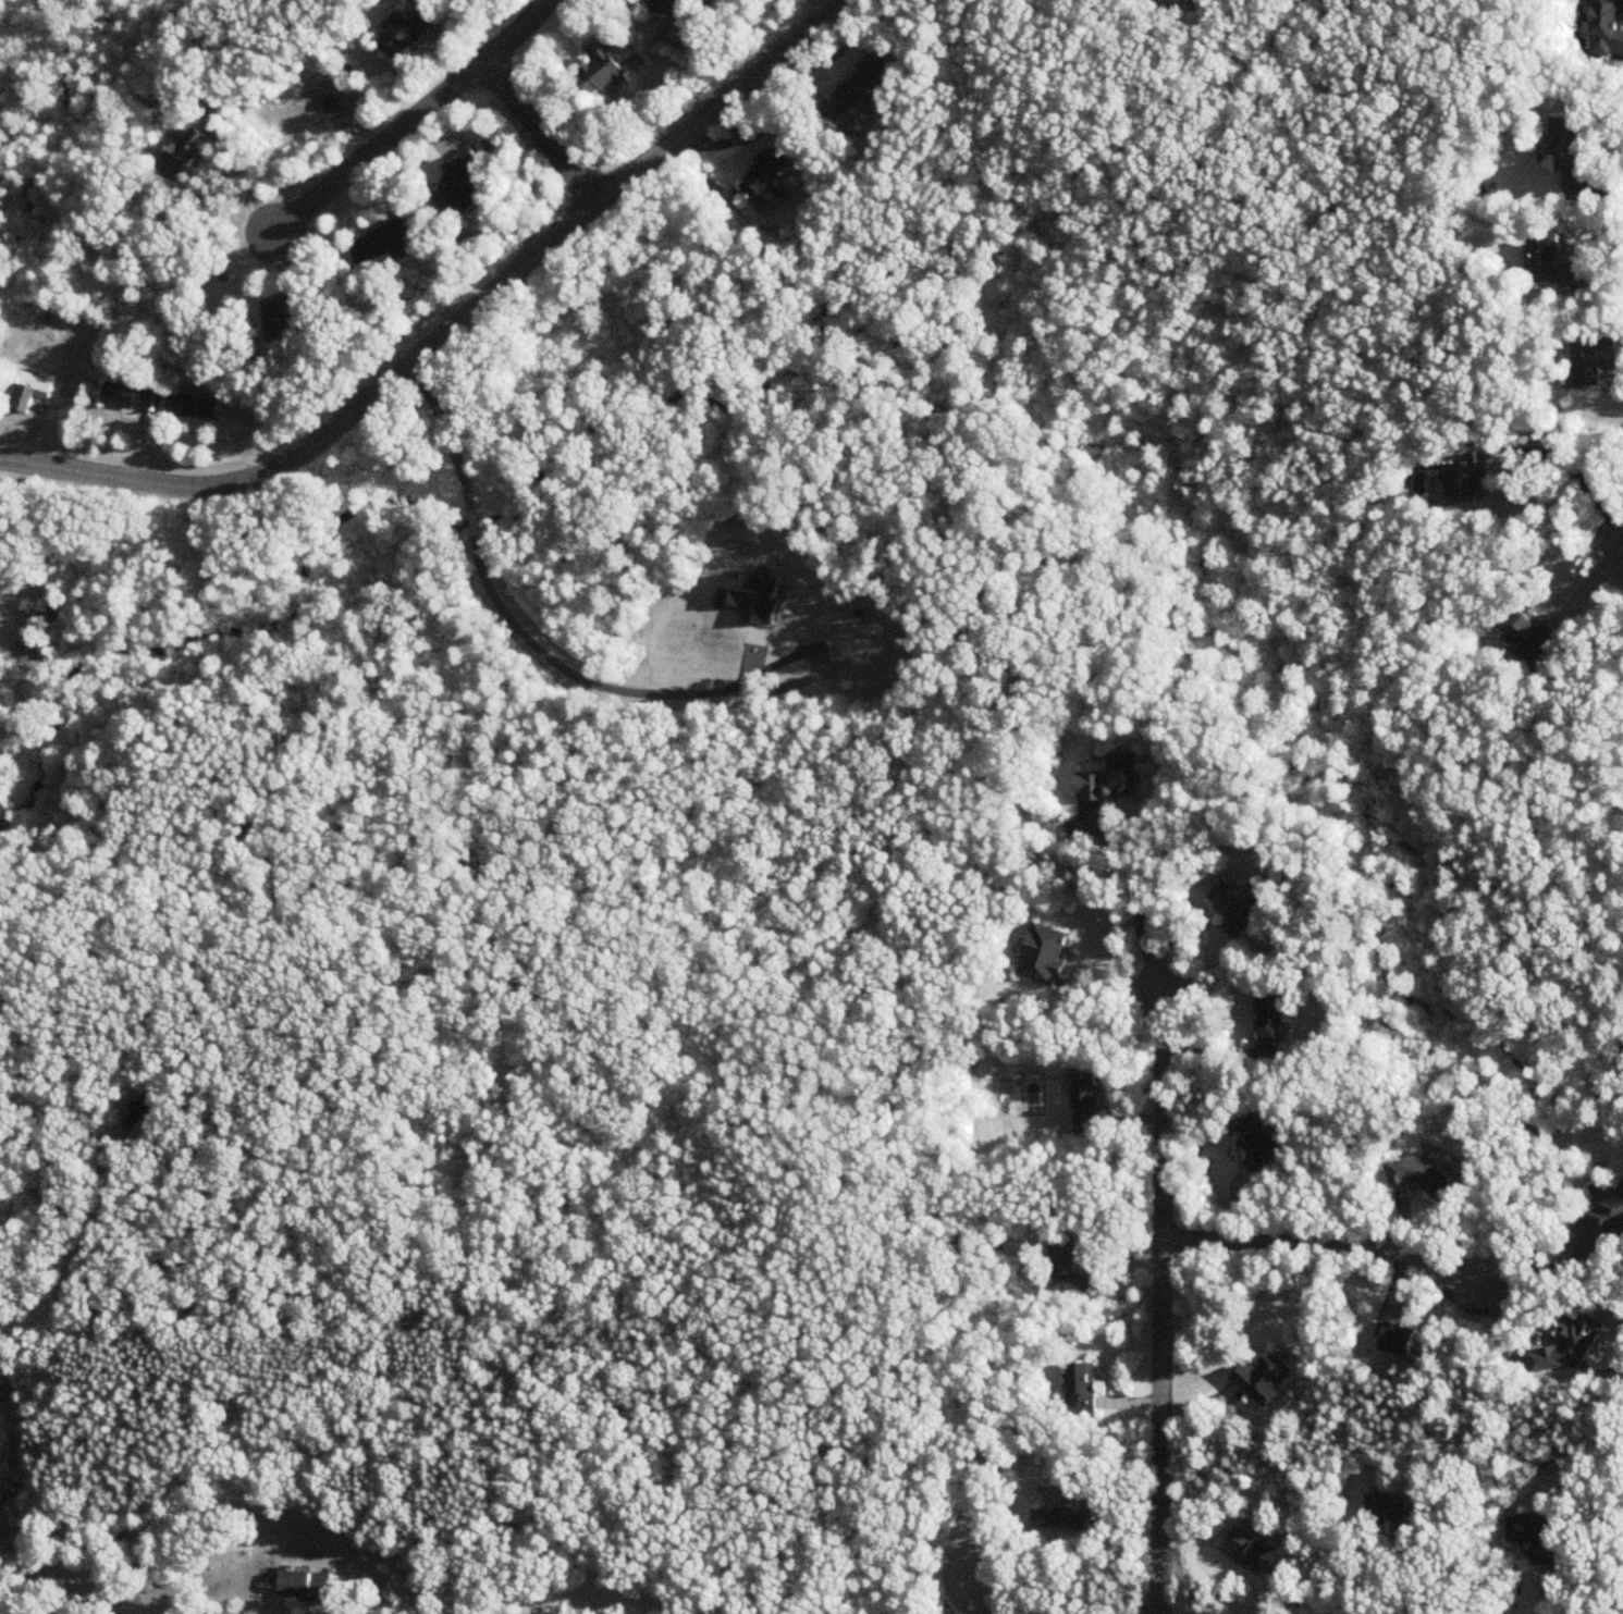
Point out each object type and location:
building: (663, 7)
building: (1608, 28)
building: (406, 30)
building: (601, 69)
road: (413, 121)
road: (541, 133)
building: (1573, 143)
building: (186, 153)
building: (767, 173)
road: (245, 174)
building: (458, 182)
road: (1593, 190)
building: (382, 244)
building: (1554, 263)
road: (1600, 268)
building: (281, 318)
road: (450, 323)
building: (1591, 360)
building: (128, 396)
building: (22, 397)
building: (192, 406)
road: (443, 427)
road: (1575, 471)
building: (1468, 479)
road: (471, 523)
building: (1527, 634)
building: (862, 646)
road: (578, 676)
building: (1112, 780)
road: (1140, 894)
building: (1237, 907)
building: (1045, 954)
building: (1275, 1013)
building: (1086, 1104)
building: (143, 1116)
building: (1258, 1146)
building: (1423, 1176)
building: (1607, 1213)
road: (1324, 1241)
road: (1548, 1266)
road: (1163, 1301)
building: (1573, 1345)
building: (1266, 1379)
building: (1084, 1387)
building: (1392, 1512)
building: (1070, 1518)
building: (1534, 1535)
building: (1249, 1549)
building: (309, 1587)
building: (552, 1613)

